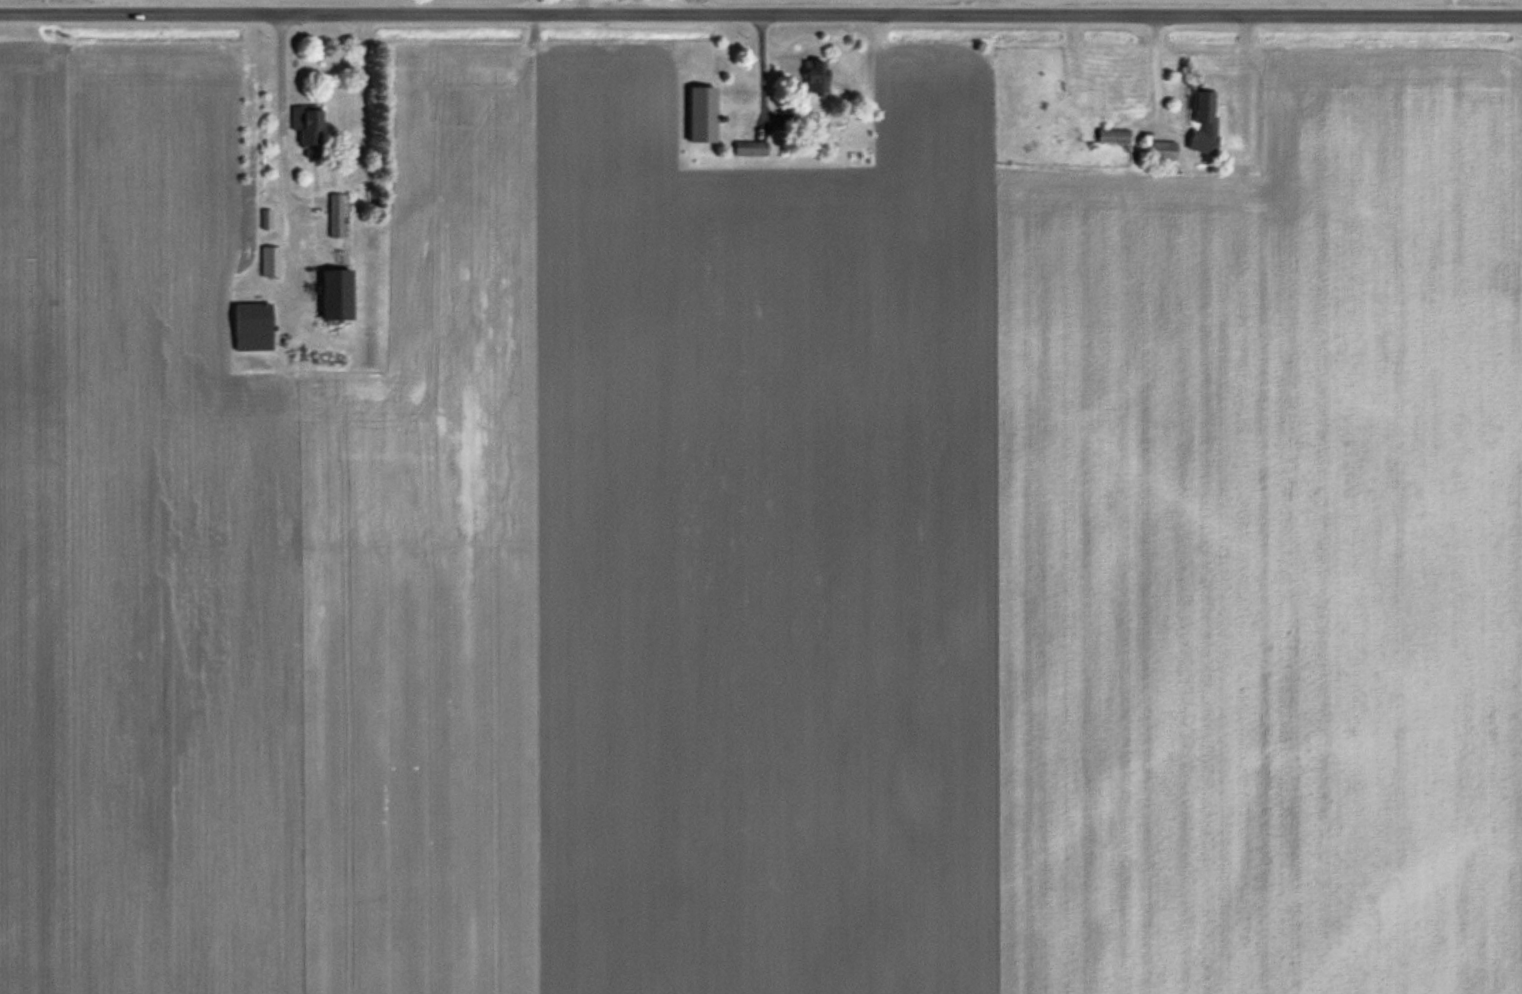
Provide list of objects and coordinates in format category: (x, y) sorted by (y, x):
road: (761, 13)
building: (812, 77)
road: (280, 87)
building: (699, 115)
building: (1200, 122)
building: (305, 129)
building: (1110, 135)
building: (1157, 150)
building: (268, 261)
building: (333, 295)
building: (249, 326)

